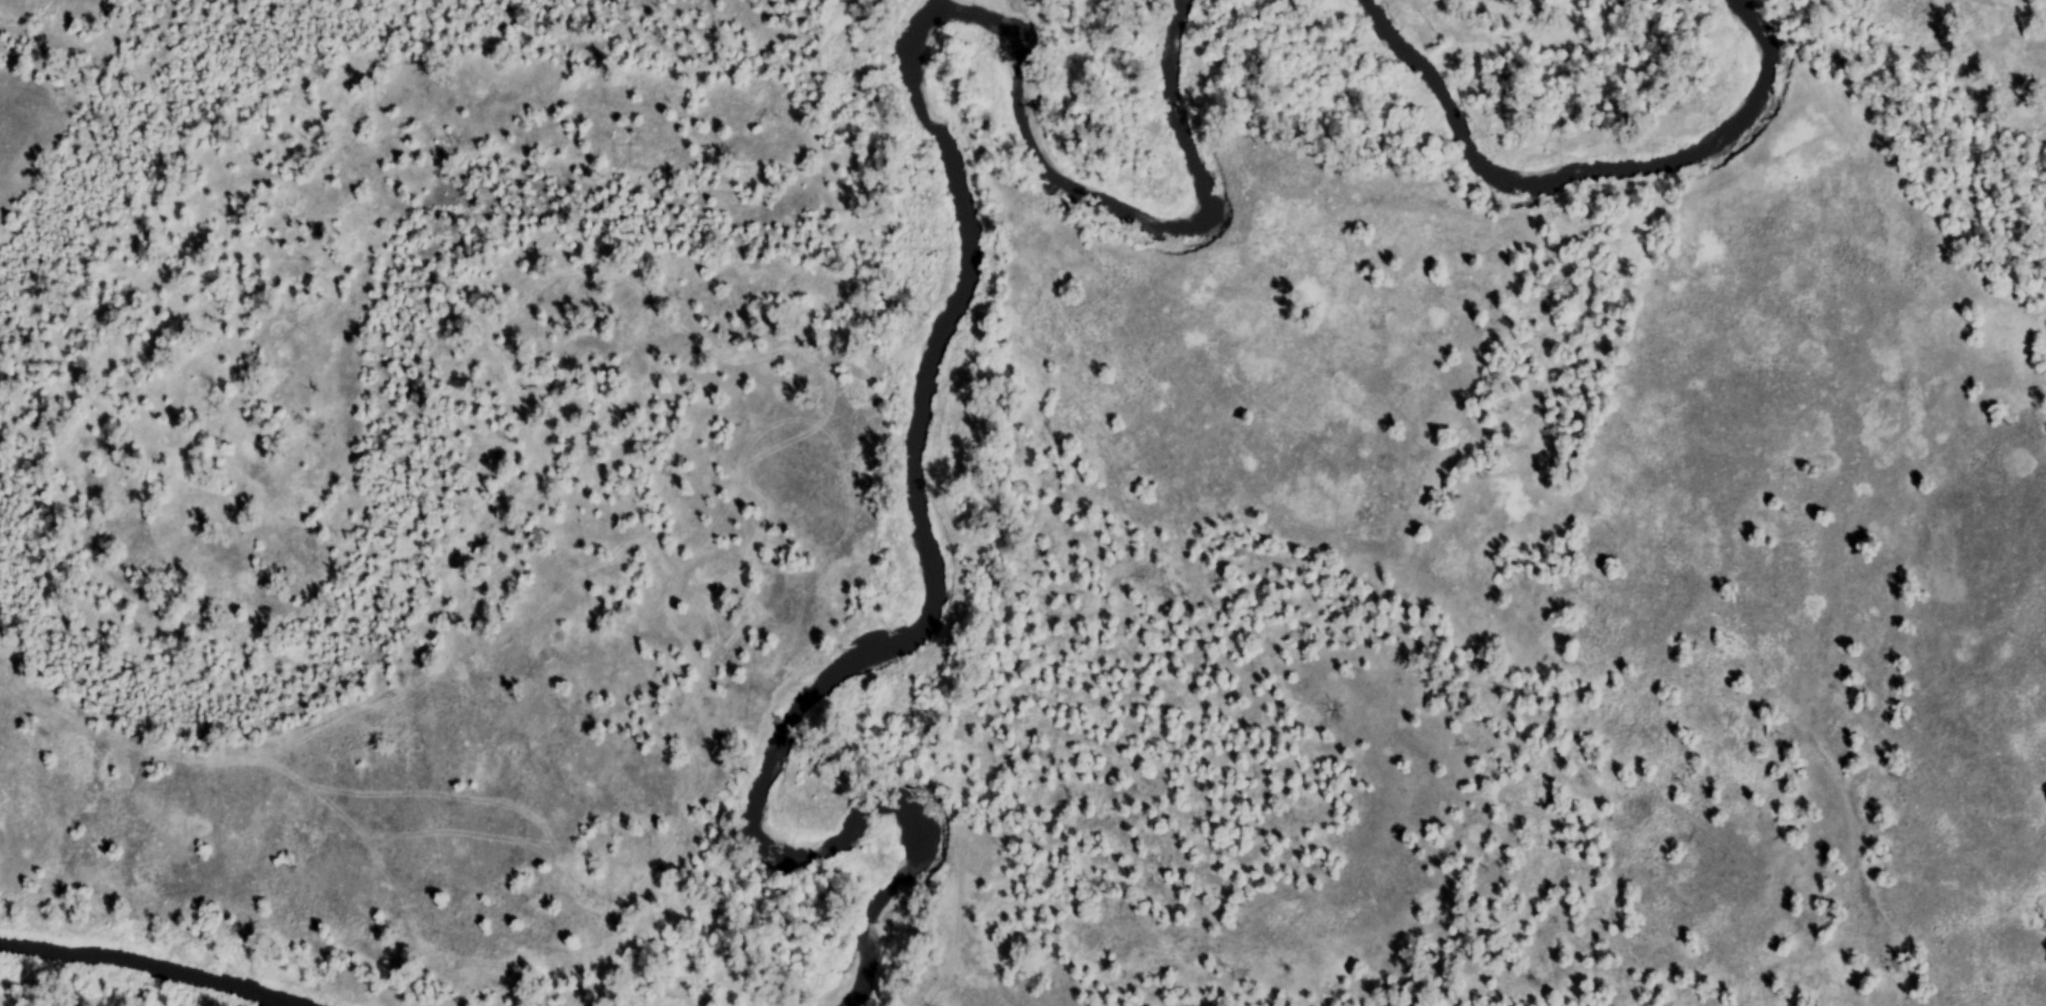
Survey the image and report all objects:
river: (1579, 168)
river: (939, 340)
river: (153, 962)

